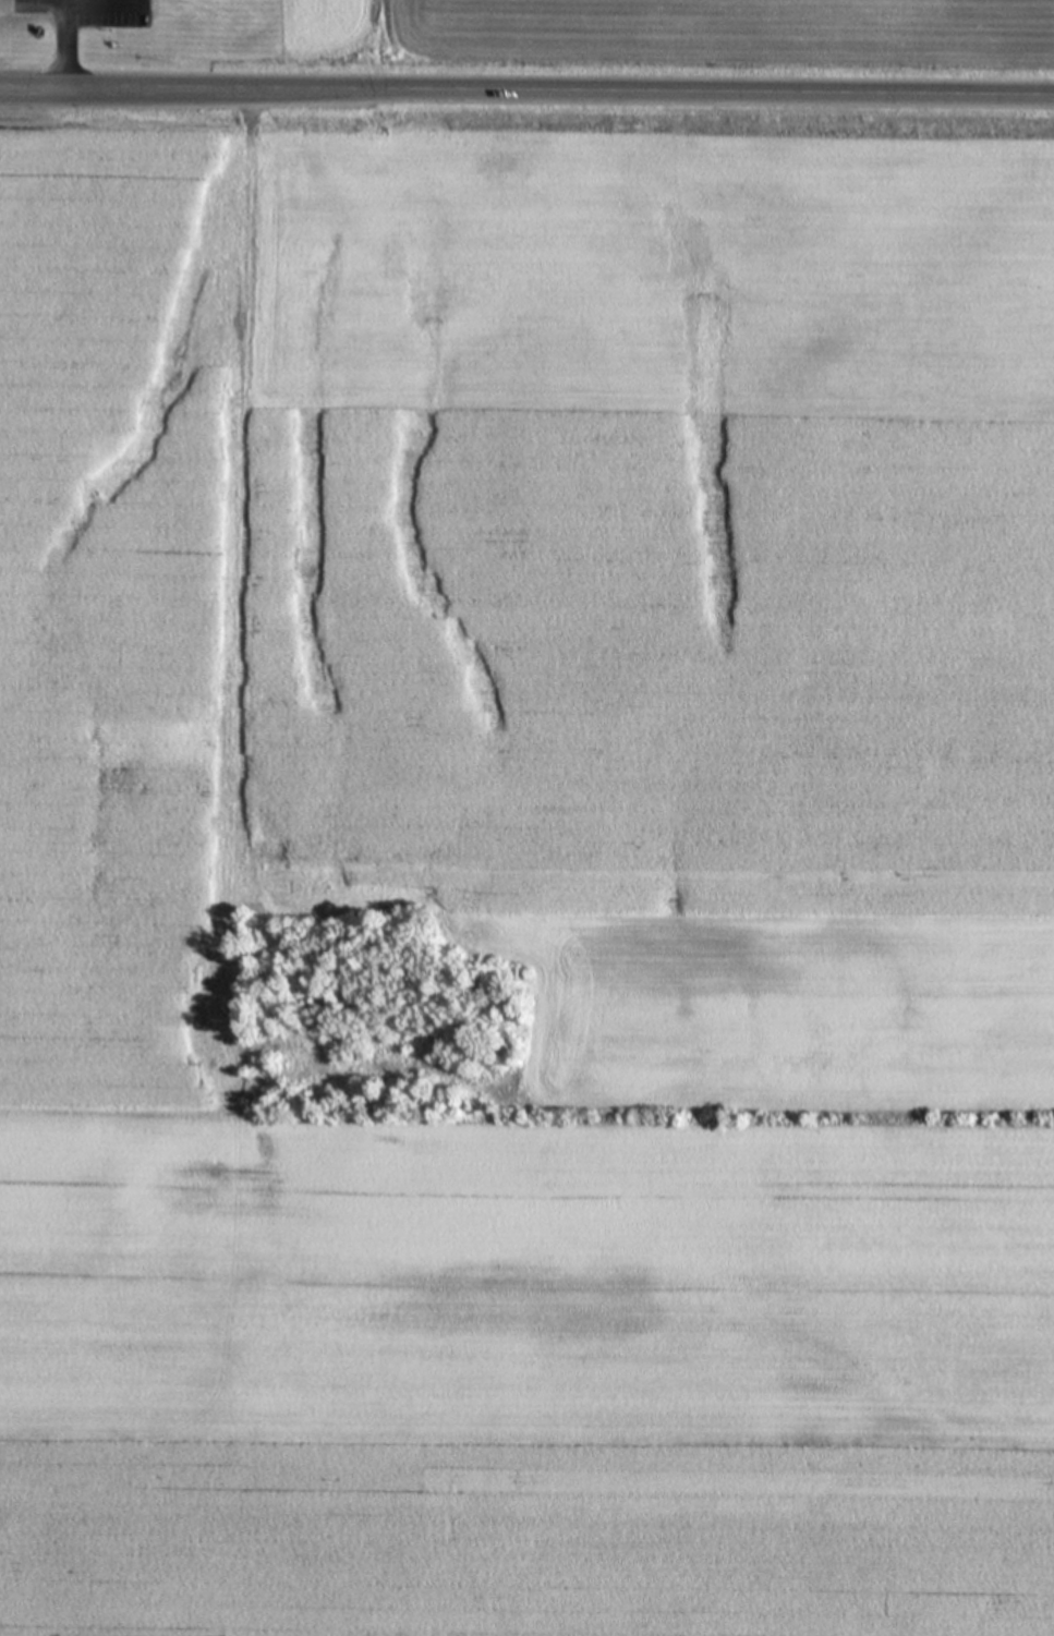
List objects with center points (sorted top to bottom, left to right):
road: (526, 90)

